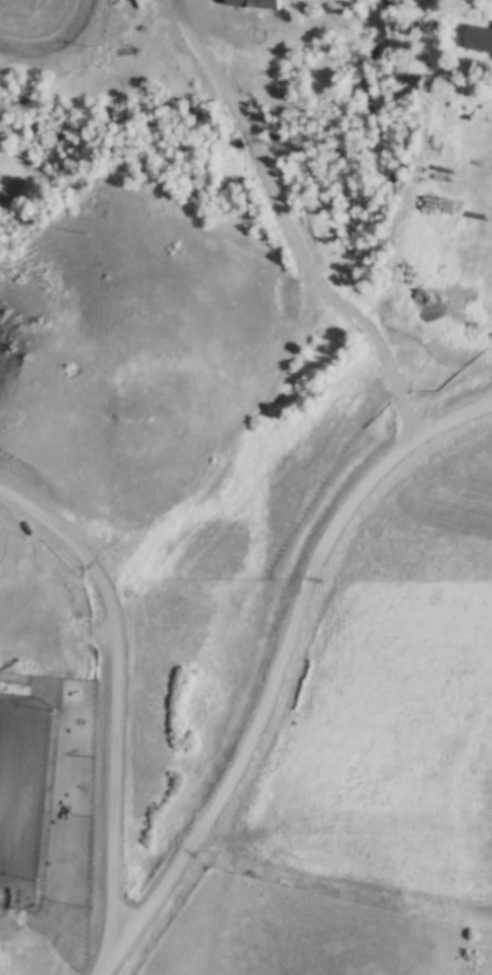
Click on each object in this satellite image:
building: (478, 39)
road: (284, 671)
road: (124, 694)

